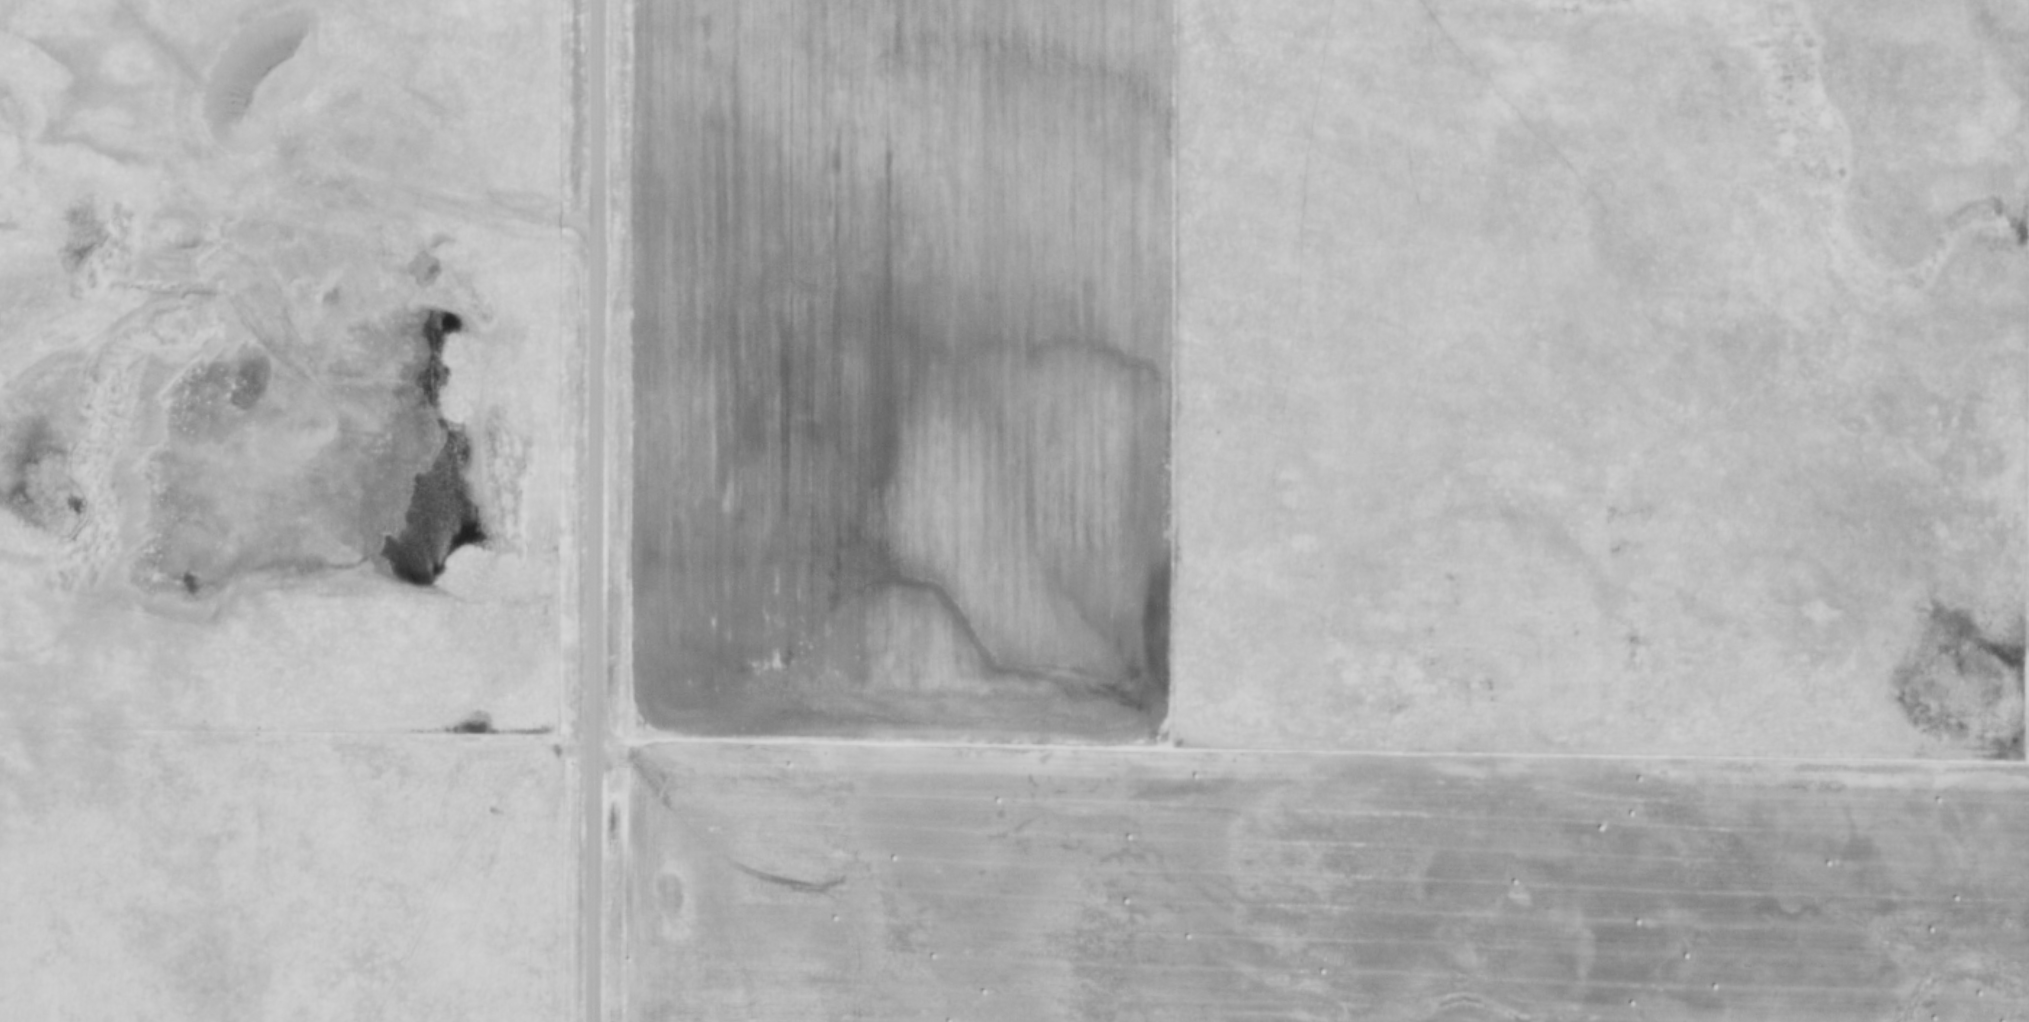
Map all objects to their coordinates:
road: (440, 198)
quarry: (273, 330)
road: (592, 510)

